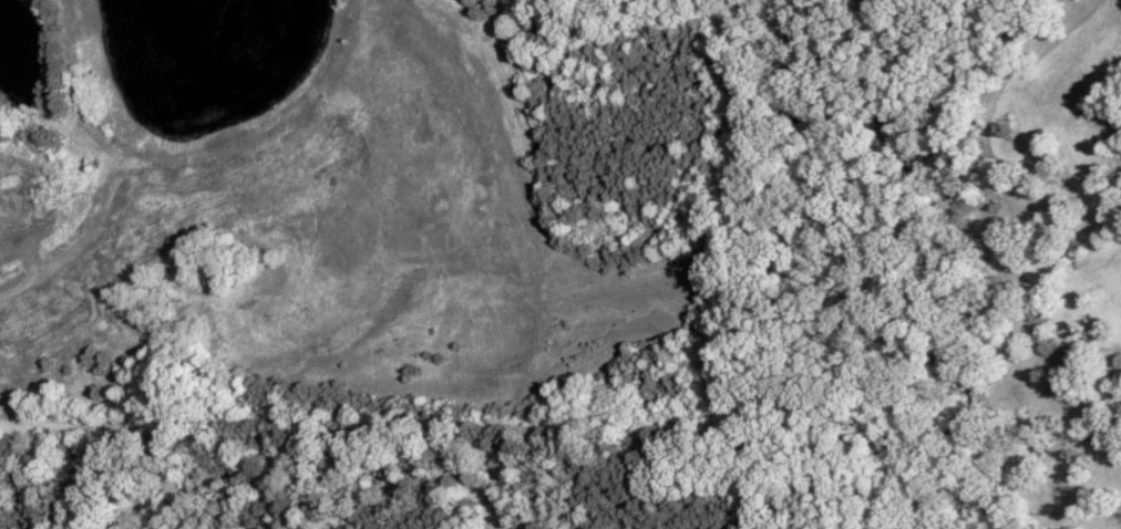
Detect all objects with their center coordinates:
road: (13, 291)

